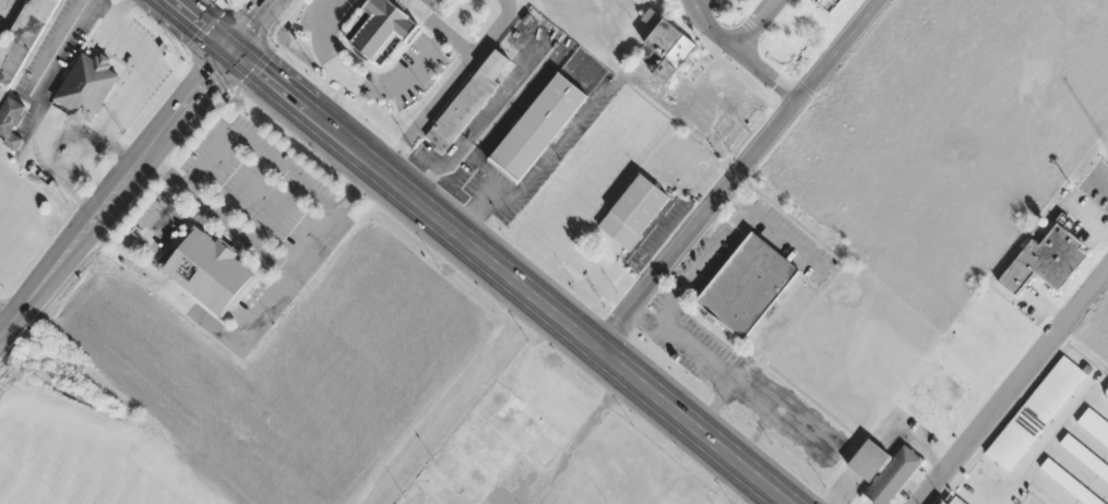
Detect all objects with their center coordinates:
road: (693, 1)
building: (830, 4)
parking garage: (830, 4)
road: (78, 8)
road: (107, 15)
road: (199, 25)
road: (251, 25)
road: (753, 25)
building: (385, 28)
building: (22, 39)
traffic signals: (229, 50)
building: (667, 50)
road: (738, 55)
road: (448, 86)
building: (76, 87)
building: (468, 99)
building: (11, 121)
building: (537, 128)
road: (209, 155)
road: (286, 167)
road: (735, 172)
road: (67, 173)
road: (247, 185)
road: (115, 189)
road: (279, 212)
building: (634, 212)
road: (236, 227)
building: (1046, 260)
building: (207, 269)
road: (508, 276)
building: (747, 285)
road: (5, 310)
road: (211, 324)
road: (1012, 385)
building: (1106, 396)
building: (1036, 412)
building: (1094, 425)
building: (1085, 457)
building: (883, 469)
building: (1070, 483)
road: (756, 495)
building: (953, 500)

